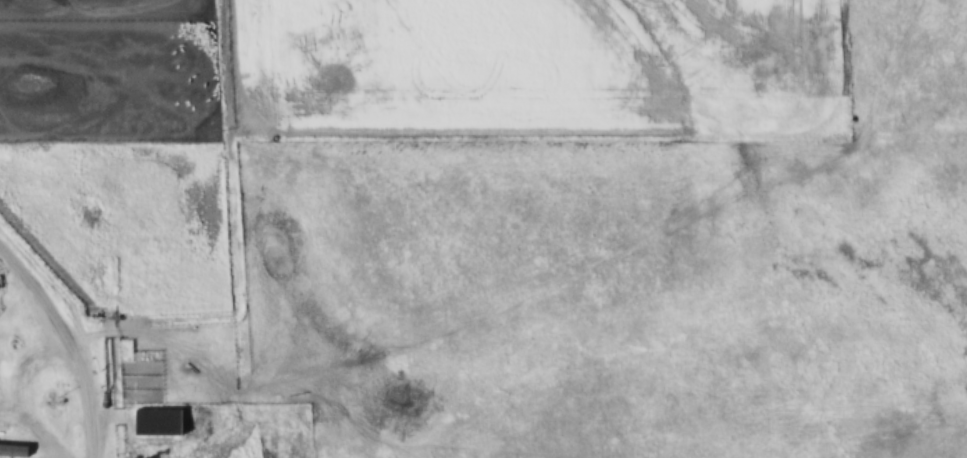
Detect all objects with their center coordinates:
building: (17, 452)

